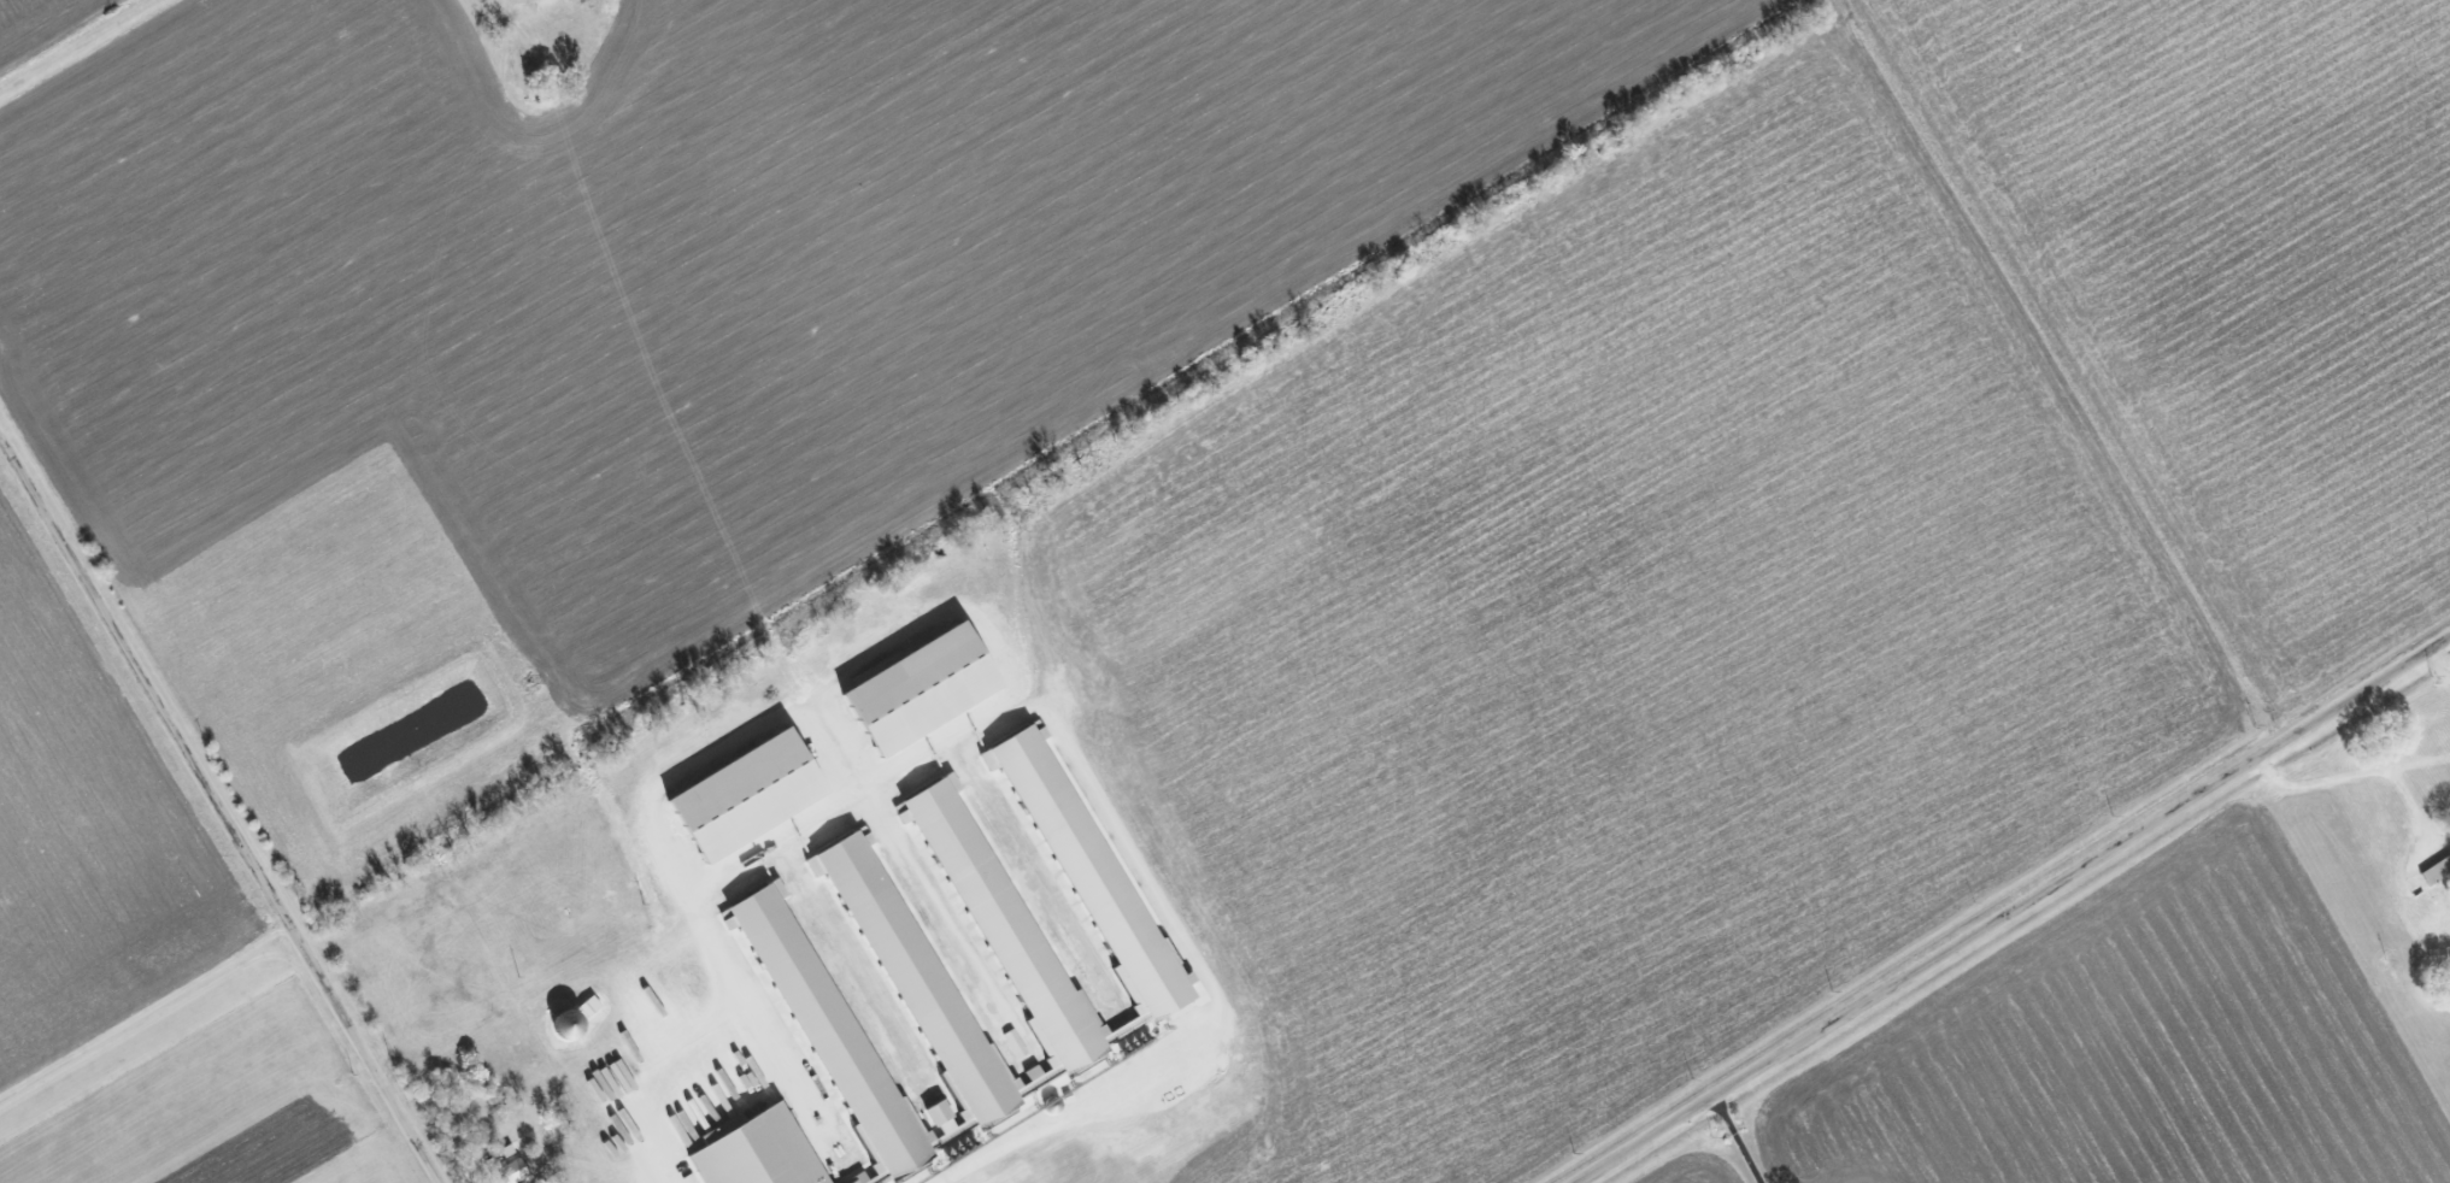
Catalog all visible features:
road: (507, 31)
road: (74, 42)
road: (882, 652)
building: (922, 685)
road: (2375, 776)
building: (747, 794)
road: (217, 810)
building: (2436, 870)
road: (2016, 911)
building: (2438, 922)
building: (915, 971)
road: (143, 1008)
road: (779, 1066)
road: (1020, 1140)
road: (1731, 1142)
building: (758, 1150)
building: (513, 1171)

